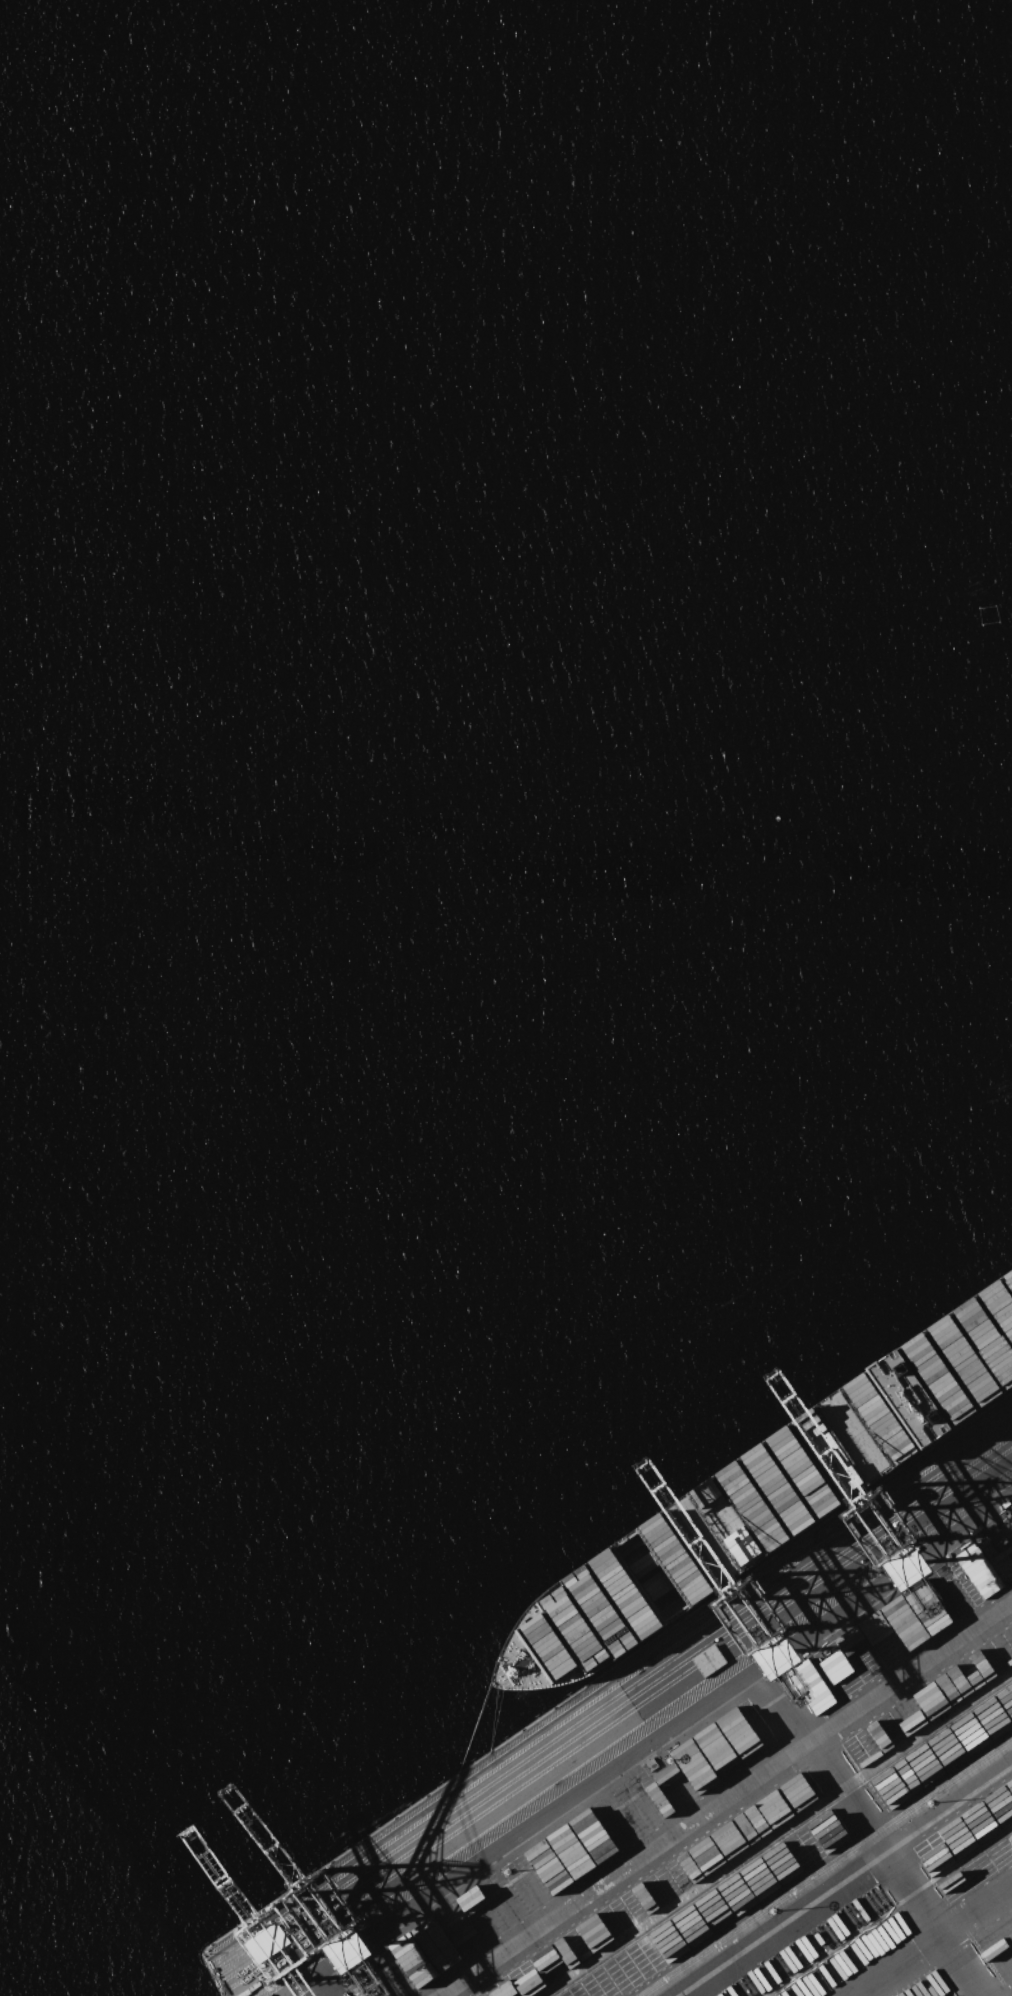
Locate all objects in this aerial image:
road: (659, 1730)
road: (726, 1799)
road: (865, 1831)
road: (838, 1876)
road: (895, 1965)
building: (386, 1970)
road: (316, 1985)
building: (370, 1992)

